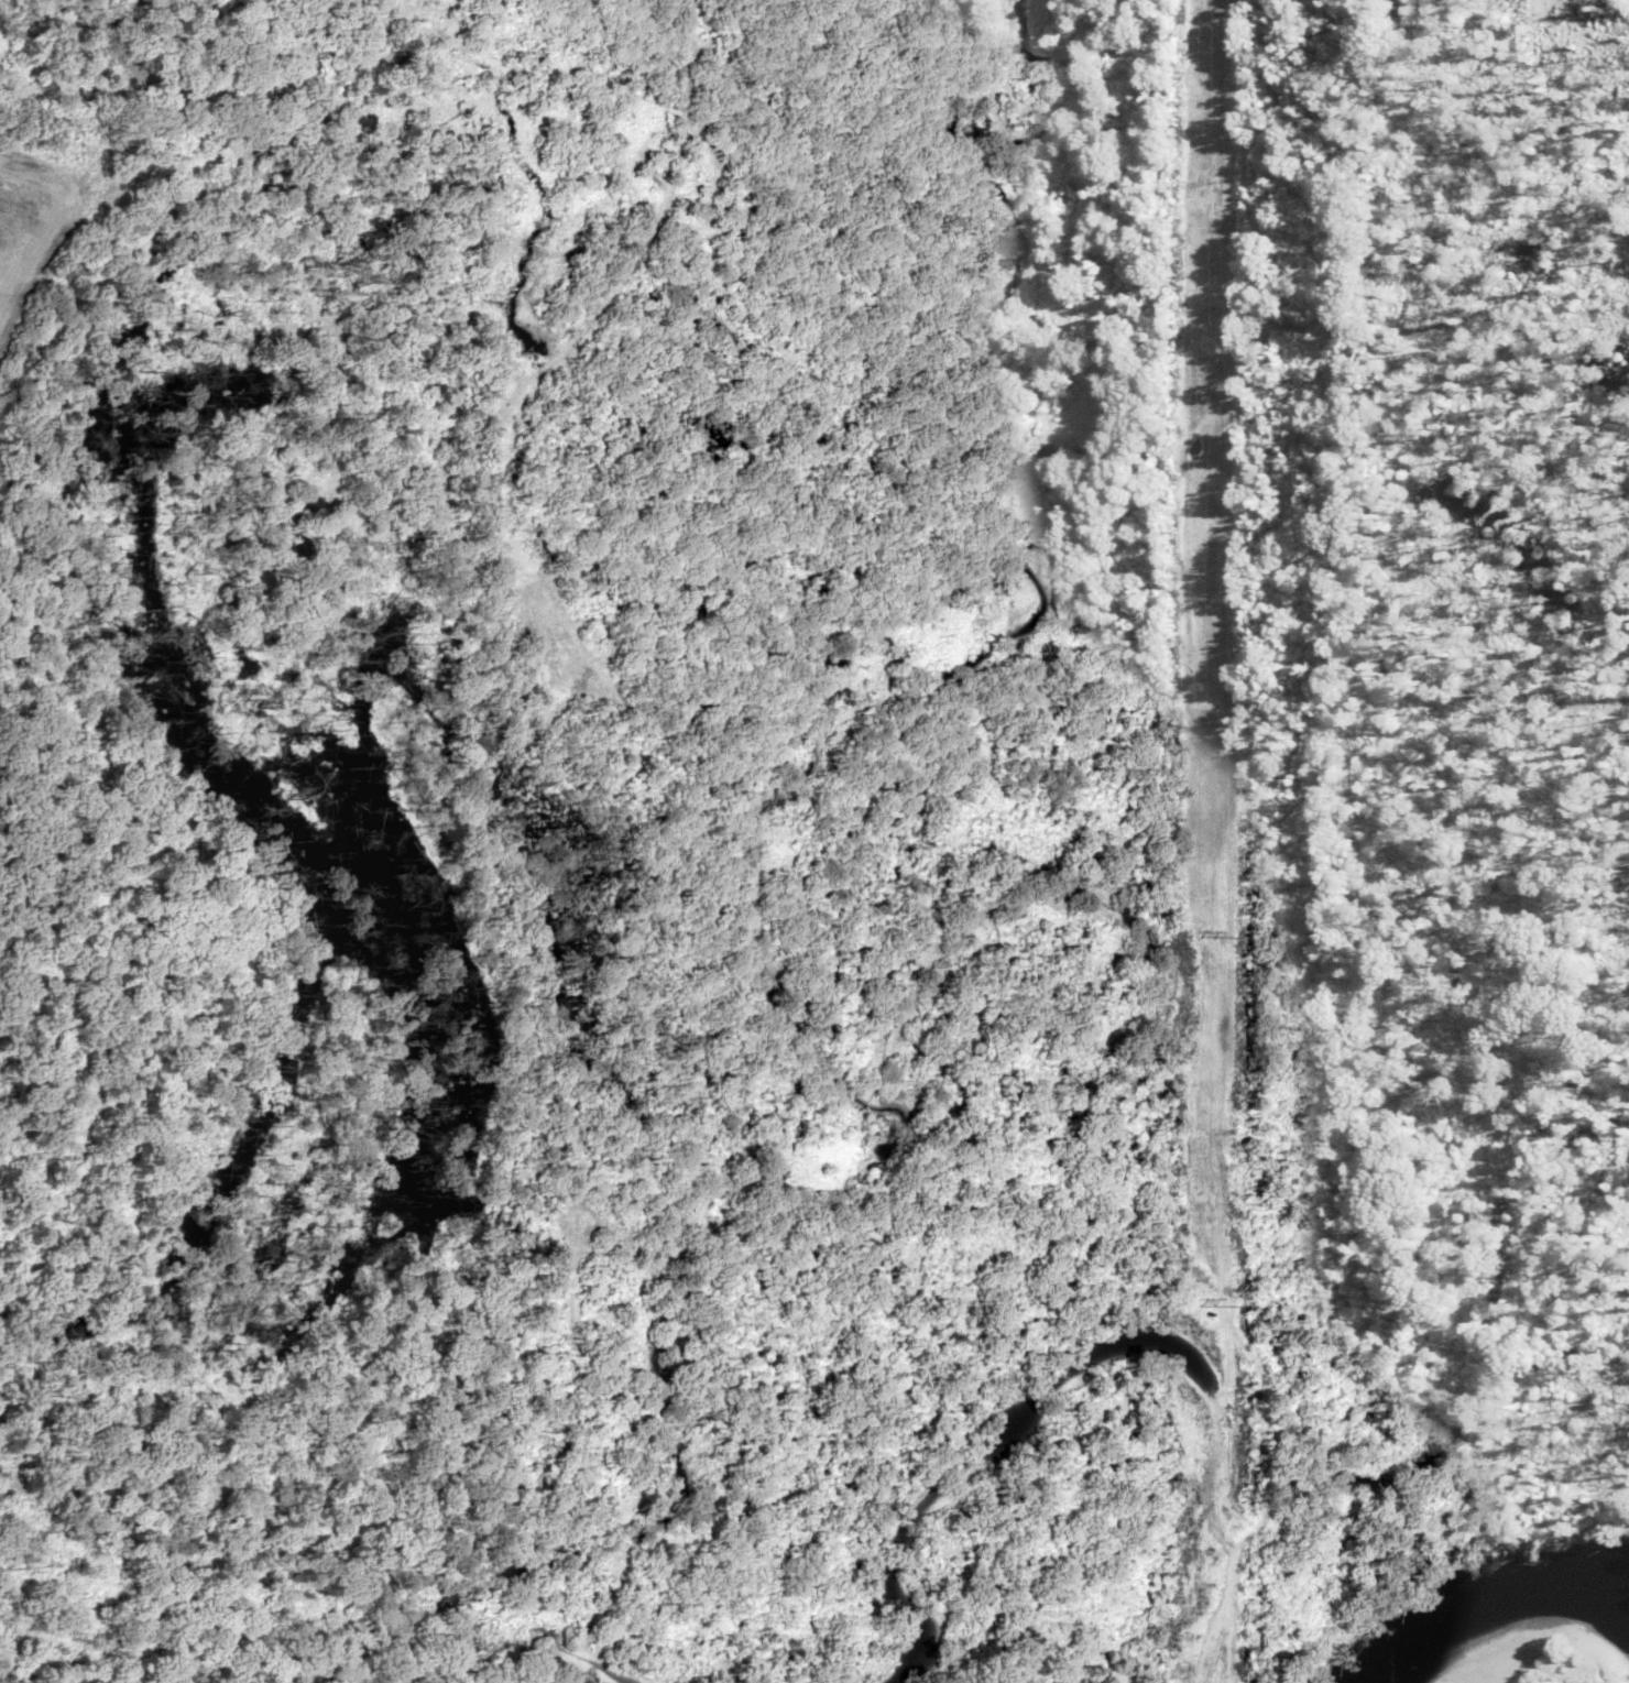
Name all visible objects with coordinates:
power tower: (1206, 179)
power tower: (1206, 571)
power tower: (1204, 937)
power tower: (1203, 1310)
river: (1538, 1636)

